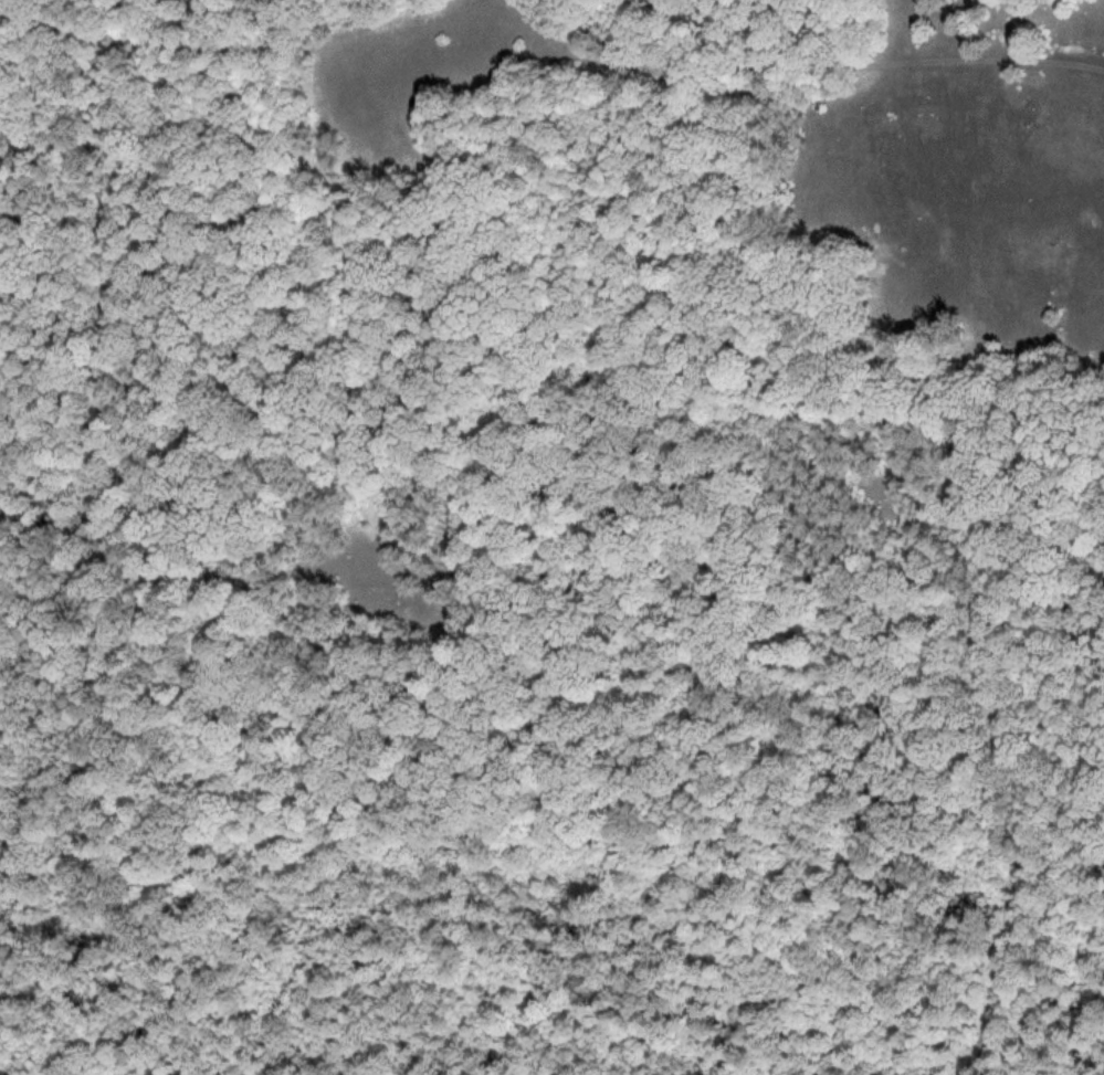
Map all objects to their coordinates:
road: (797, 65)

